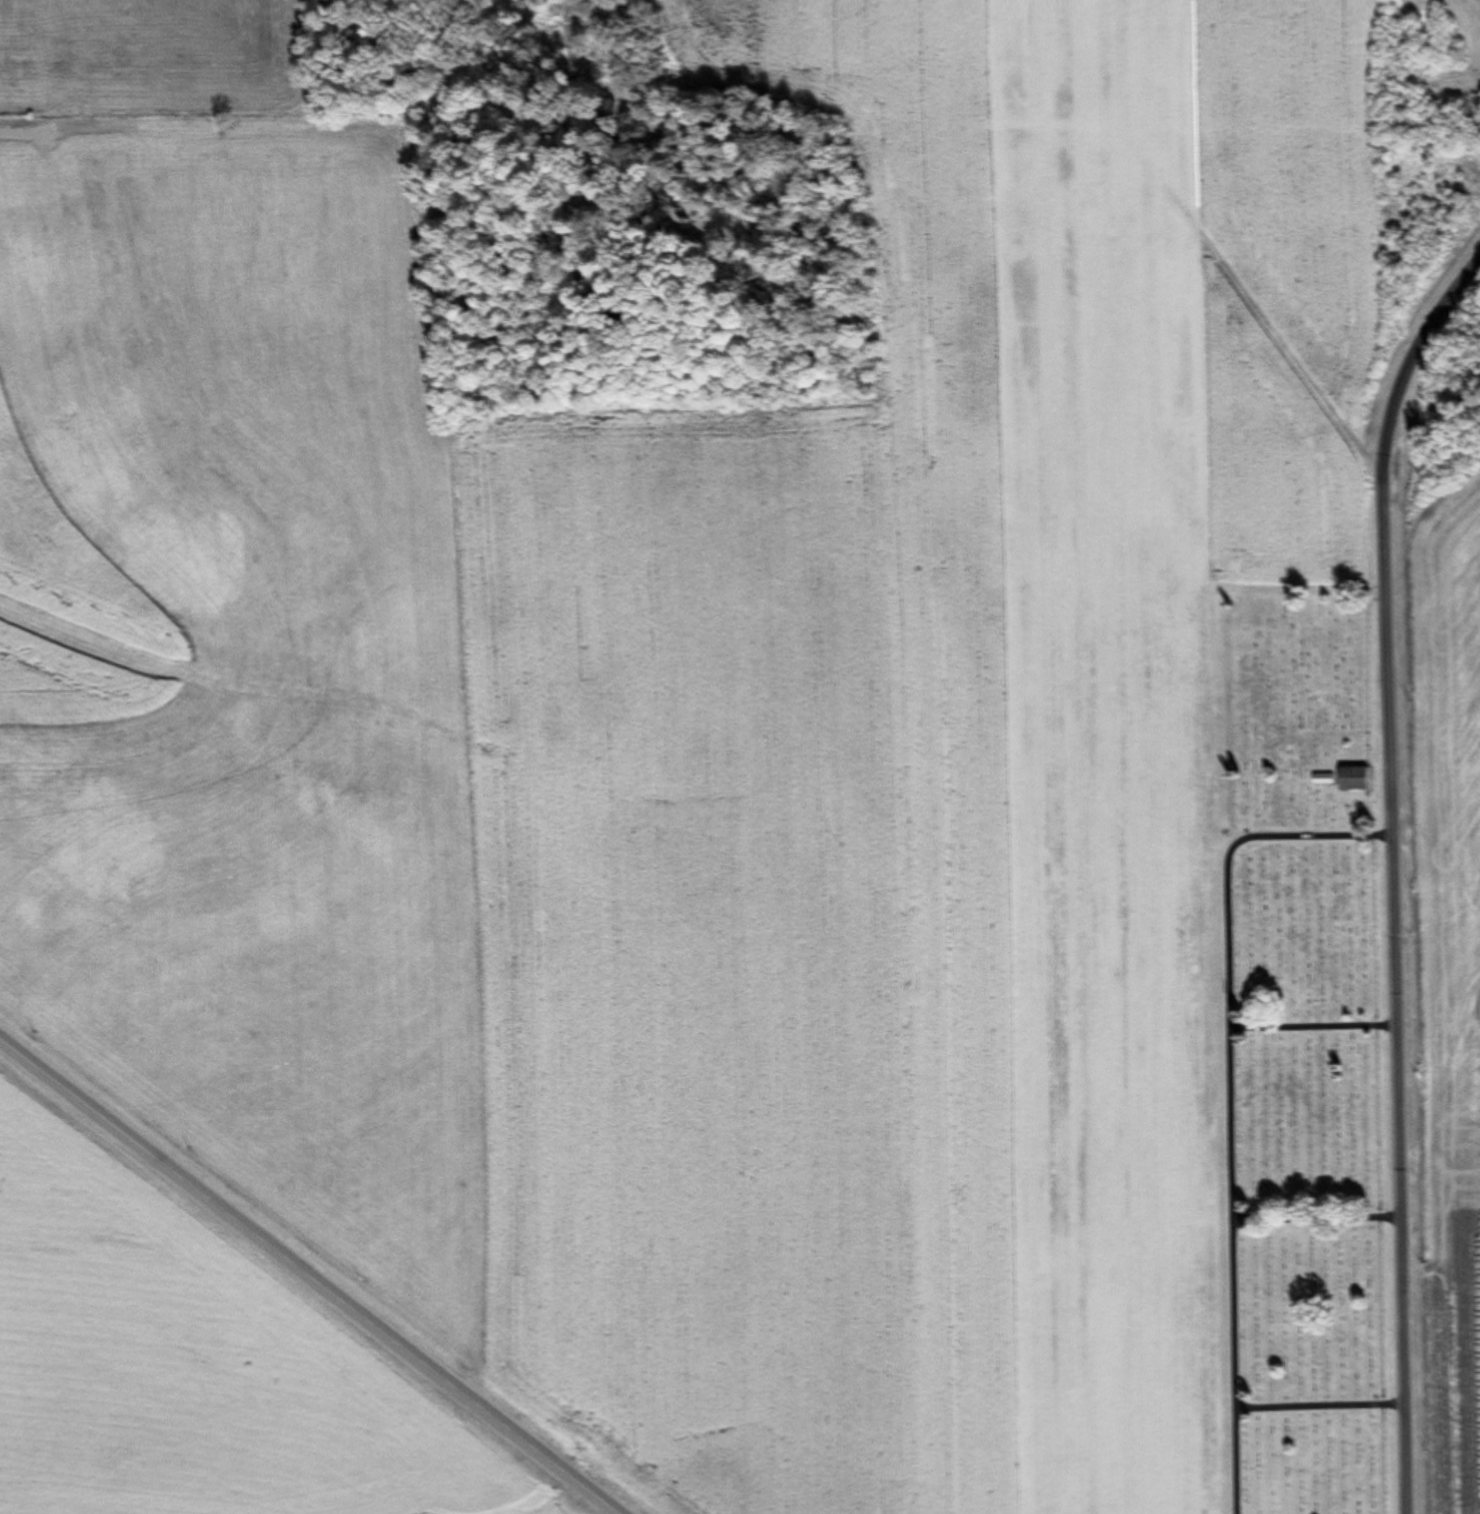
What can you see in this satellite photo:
building: (1360, 779)
building: (1327, 780)
road: (1391, 872)
park: (1302, 1053)
road: (313, 1269)

